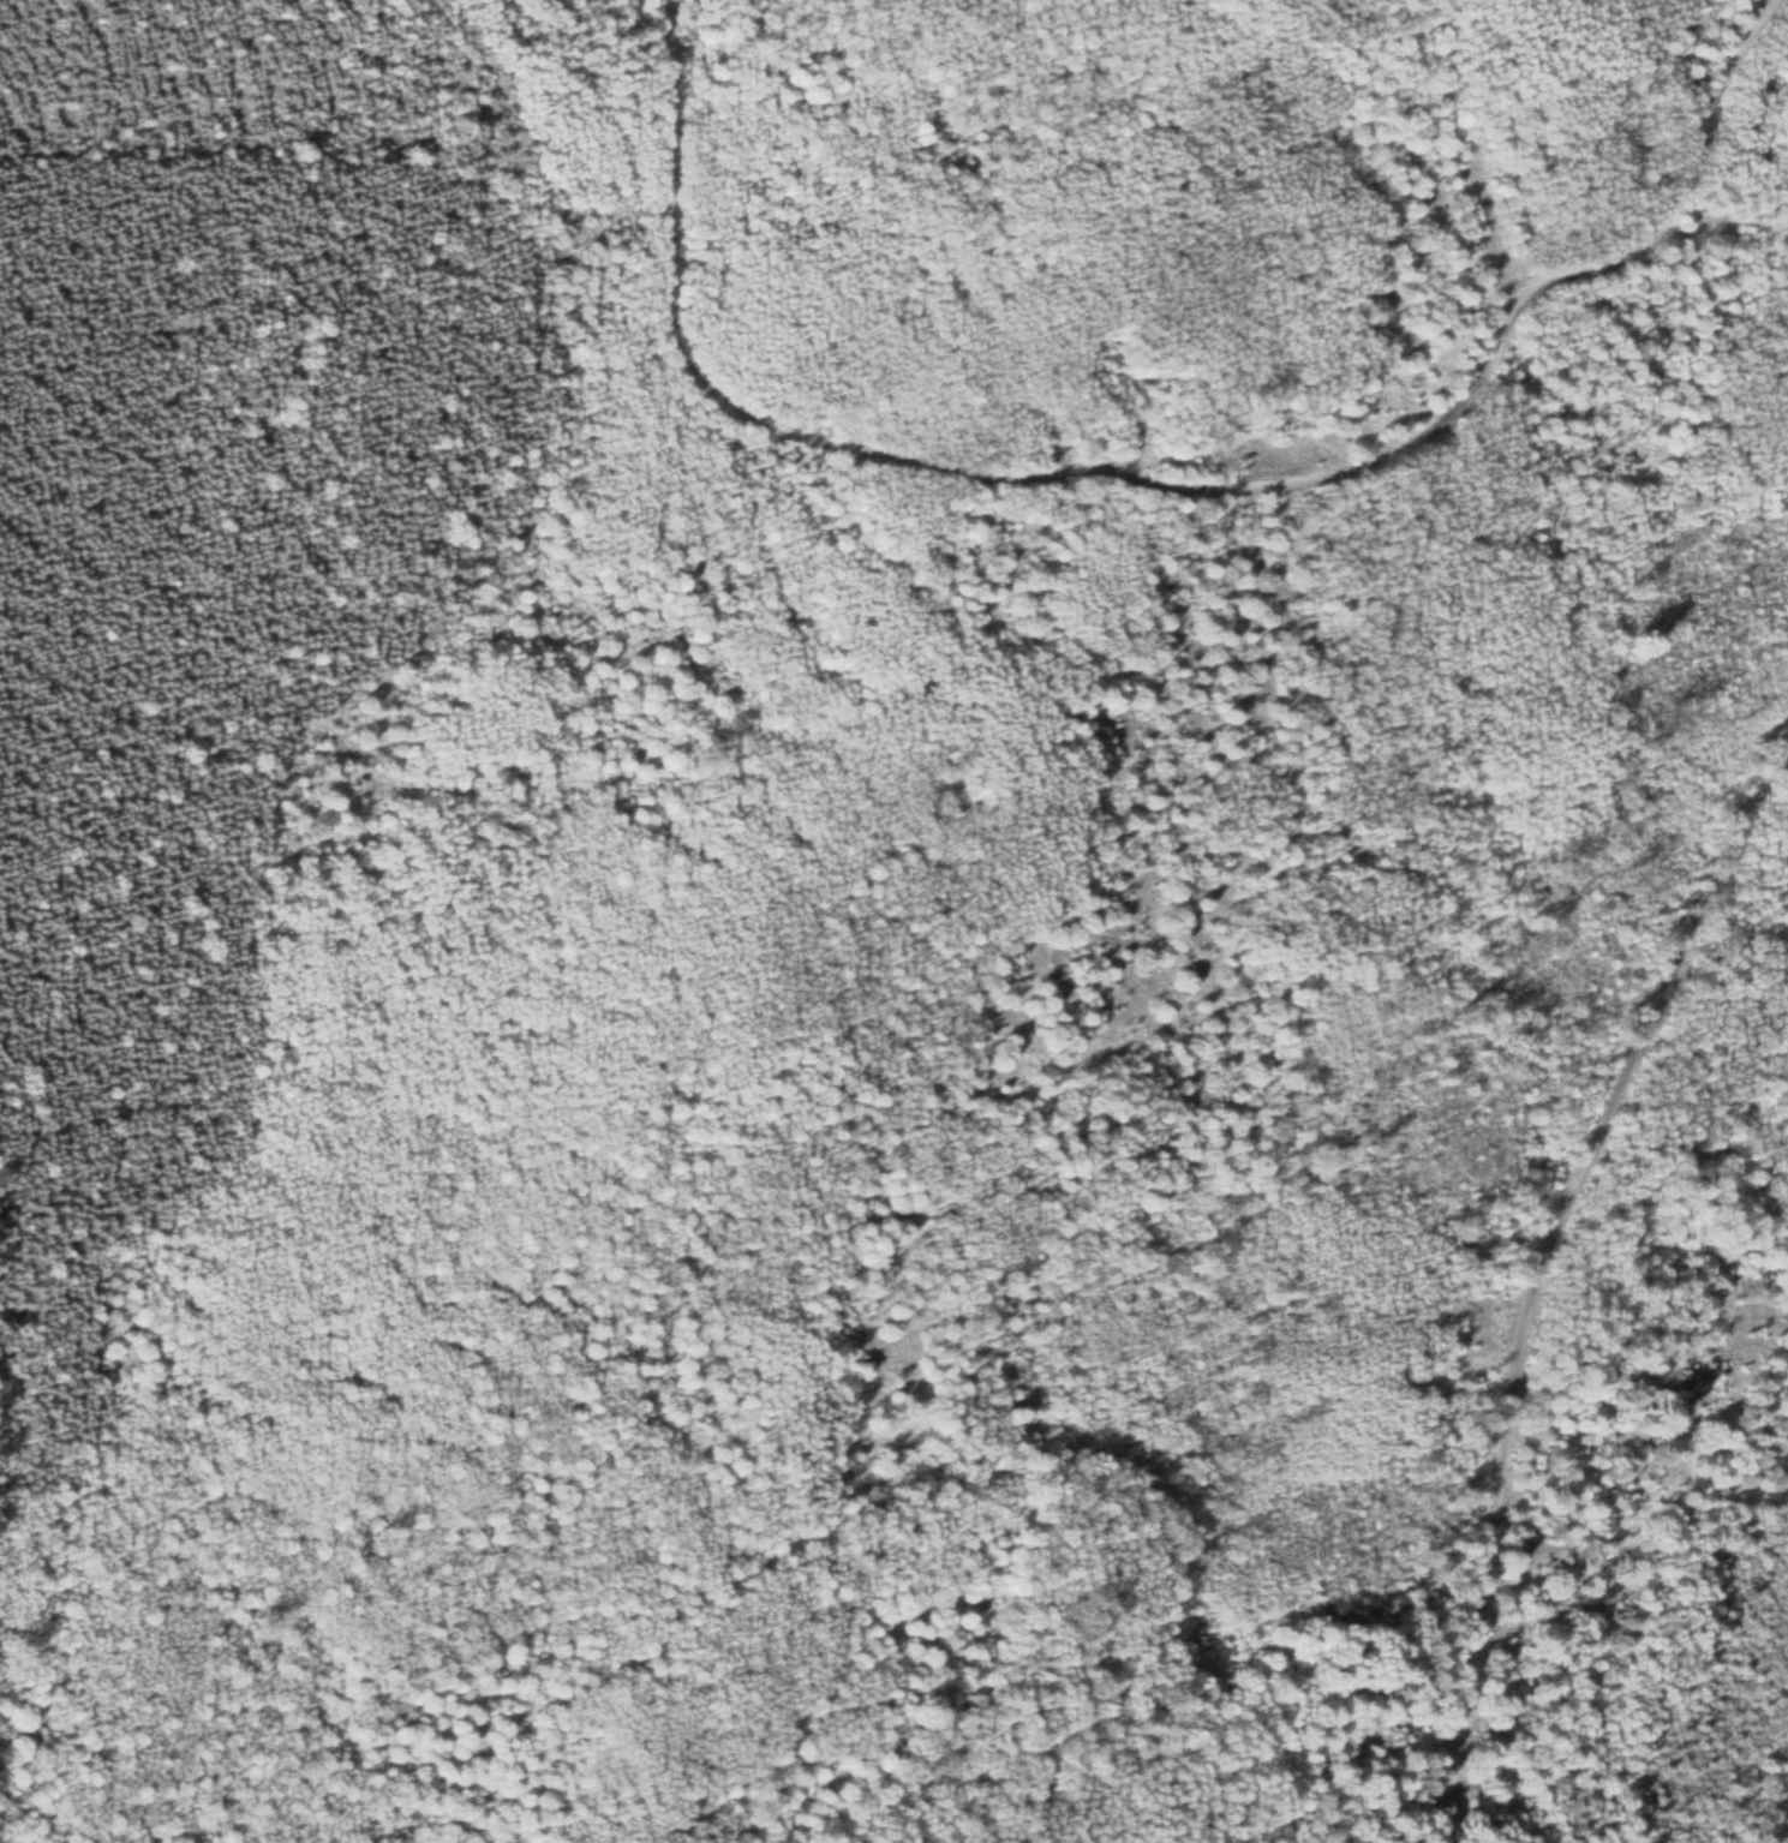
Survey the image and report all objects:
road: (1154, 484)
road: (1015, 1192)
road: (1545, 1259)

